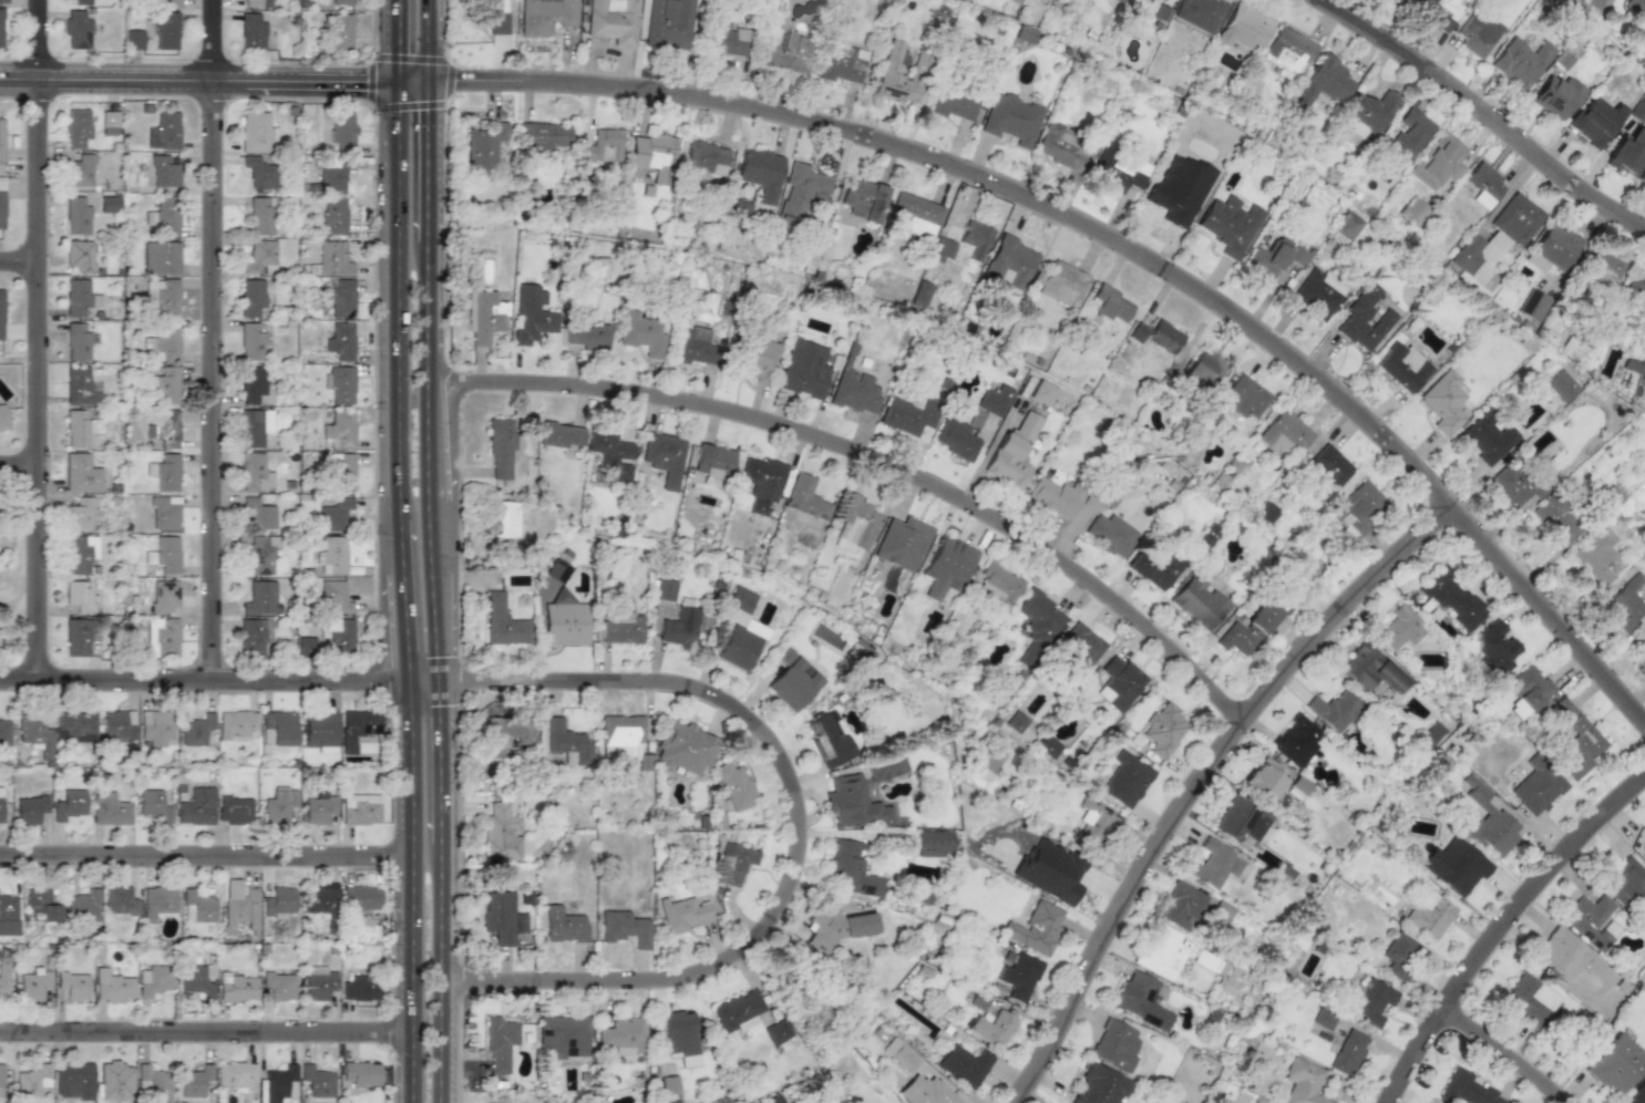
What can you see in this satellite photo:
building: (1117, 0)
building: (1144, 0)
building: (2, 1)
building: (79, 2)
building: (342, 2)
building: (167, 3)
building: (254, 3)
building: (1636, 7)
building: (1437, 12)
building: (1200, 13)
building: (495, 16)
building: (613, 21)
building: (669, 23)
building: (1, 28)
building: (1244, 28)
building: (76, 30)
building: (166, 31)
building: (251, 32)
building: (340, 32)
building: (1477, 33)
building: (1026, 34)
building: (134, 40)
road: (399, 42)
building: (731, 45)
building: (1288, 50)
building: (788, 53)
building: (1562, 60)
building: (1520, 62)
building: (842, 69)
road: (412, 82)
building: (1323, 82)
road: (199, 84)
building: (1556, 97)
building: (953, 105)
building: (1641, 110)
building: (1368, 113)
road: (1481, 113)
building: (1011, 120)
building: (1596, 122)
building: (109, 123)
building: (78, 128)
building: (341, 130)
building: (163, 131)
building: (254, 132)
building: (1409, 134)
building: (542, 137)
building: (484, 144)
building: (1, 145)
building: (600, 146)
building: (1060, 147)
building: (652, 152)
building: (1628, 152)
building: (706, 157)
building: (1439, 162)
building: (81, 171)
building: (259, 171)
building: (163, 172)
building: (333, 173)
building: (760, 173)
building: (1115, 175)
building: (1643, 181)
building: (1483, 185)
building: (801, 192)
building: (863, 199)
building: (1, 203)
building: (109, 204)
building: (1412, 210)
building: (914, 214)
building: (333, 215)
building: (76, 216)
building: (163, 216)
building: (261, 216)
building: (1348, 224)
building: (1230, 225)
road: (1117, 241)
building: (964, 244)
building: (1557, 246)
building: (80, 256)
building: (161, 257)
building: (260, 257)
building: (331, 259)
building: (1273, 259)
road: (20, 261)
building: (1009, 262)
building: (1602, 266)
building: (1061, 282)
building: (1636, 289)
building: (1317, 293)
building: (922, 295)
building: (163, 296)
building: (75, 297)
building: (251, 297)
building: (341, 298)
road: (399, 301)
building: (1112, 305)
building: (1533, 306)
building: (1, 315)
building: (531, 317)
building: (482, 318)
building: (1364, 320)
building: (642, 332)
building: (1137, 332)
building: (588, 337)
building: (1163, 337)
road: (40, 339)
road: (212, 339)
building: (340, 340)
building: (76, 342)
building: (251, 342)
building: (163, 343)
building: (692, 347)
building: (759, 359)
building: (1633, 360)
building: (1401, 367)
building: (1204, 369)
building: (805, 370)
building: (1643, 373)
building: (164, 384)
building: (339, 384)
building: (1561, 385)
building: (253, 386)
building: (855, 392)
building: (1041, 393)
building: (1246, 396)
building: (994, 400)
building: (1442, 405)
building: (1209, 415)
building: (907, 416)
building: (3, 418)
building: (254, 426)
building: (165, 427)
building: (76, 429)
building: (339, 430)
building: (1285, 433)
building: (561, 435)
building: (955, 436)
building: (500, 447)
building: (610, 452)
building: (1012, 453)
building: (664, 457)
road: (871, 461)
building: (1497, 461)
building: (713, 463)
road: (20, 465)
building: (164, 472)
building: (341, 472)
building: (1328, 472)
building: (255, 473)
building: (80, 474)
building: (761, 482)
building: (1112, 492)
building: (1055, 496)
building: (806, 497)
building: (1607, 499)
building: (1357, 508)
building: (259, 511)
building: (163, 512)
building: (1266, 513)
building: (80, 514)
building: (333, 514)
building: (505, 519)
building: (1555, 520)
building: (854, 525)
building: (1111, 535)
building: (902, 543)
road: (401, 545)
road: (431, 551)
building: (79, 553)
building: (164, 554)
building: (1595, 554)
building: (261, 555)
building: (331, 555)
building: (947, 567)
building: (1154, 569)
building: (557, 570)
park: (11, 573)
building: (998, 584)
building: (664, 590)
building: (79, 595)
building: (163, 595)
building: (333, 595)
building: (259, 597)
road: (18, 598)
building: (741, 599)
building: (1625, 601)
building: (1197, 602)
building: (502, 622)
building: (744, 622)
building: (1038, 622)
building: (565, 625)
road: (405, 626)
building: (680, 627)
building: (1400, 628)
building: (623, 629)
building: (1248, 629)
building: (338, 632)
road: (388, 632)
building: (78, 637)
building: (162, 637)
building: (251, 637)
building: (305, 646)
building: (738, 648)
building: (1081, 648)
building: (1495, 648)
building: (1370, 669)
road: (204, 679)
building: (792, 680)
road: (422, 681)
building: (1120, 683)
building: (1529, 687)
building: (1334, 710)
building: (1016, 722)
building: (236, 724)
building: (117, 725)
building: (74, 726)
building: (154, 726)
building: (356, 728)
building: (1163, 729)
building: (195, 730)
building: (277, 730)
building: (4, 732)
building: (320, 732)
building: (35, 735)
building: (505, 735)
building: (620, 736)
building: (1430, 736)
building: (1576, 740)
building: (1295, 741)
building: (829, 742)
building: (567, 743)
building: (1047, 745)
building: (683, 748)
building: (887, 769)
building: (1264, 779)
building: (1127, 780)
road: (1195, 780)
building: (736, 787)
building: (1538, 788)
building: (854, 803)
building: (69, 804)
building: (279, 804)
building: (152, 805)
building: (195, 807)
building: (29, 808)
building: (109, 808)
building: (359, 808)
building: (318, 810)
building: (234, 811)
building: (1487, 819)
building: (1096, 822)
building: (1241, 822)
road: (796, 828)
building: (502, 833)
building: (935, 844)
building: (1644, 846)
road: (206, 852)
building: (736, 863)
building: (1454, 866)
building: (851, 869)
building: (1050, 873)
building: (1625, 883)
road: (413, 891)
building: (320, 897)
building: (360, 898)
building: (119, 900)
building: (156, 901)
building: (279, 901)
building: (39, 904)
building: (82, 905)
building: (1181, 905)
building: (197, 906)
building: (239, 906)
building: (8, 908)
building: (683, 914)
building: (1429, 914)
building: (498, 916)
building: (1590, 919)
road: (1497, 921)
building: (518, 924)
building: (859, 925)
building: (564, 926)
building: (1034, 926)
building: (625, 928)
building: (824, 928)
building: (1162, 952)
building: (1560, 953)
building: (1399, 956)
building: (3, 976)
building: (1019, 976)
building: (197, 979)
building: (153, 980)
building: (317, 982)
building: (33, 983)
building: (73, 985)
building: (113, 986)
building: (279, 986)
building: (237, 987)
building: (360, 990)
building: (1528, 999)
building: (978, 1000)
building: (1140, 1000)
building: (1369, 1002)
building: (739, 1012)
building: (1324, 1019)
road: (206, 1027)
building: (991, 1028)
building: (777, 1032)
building: (564, 1035)
building: (624, 1035)
building: (680, 1038)
building: (500, 1043)
building: (1114, 1044)
road: (1507, 1050)
building: (1348, 1052)
building: (901, 1053)
building: (1616, 1064)
building: (964, 1065)
building: (235, 1073)
building: (360, 1073)
building: (0, 1078)
building: (73, 1080)
building: (194, 1080)
building: (32, 1081)
building: (317, 1081)
building: (114, 1082)
building: (153, 1082)
building: (1303, 1082)
building: (276, 1084)
building: (669, 1084)
building: (1099, 1085)
building: (1464, 1089)
building: (925, 1091)
building: (1636, 1094)

